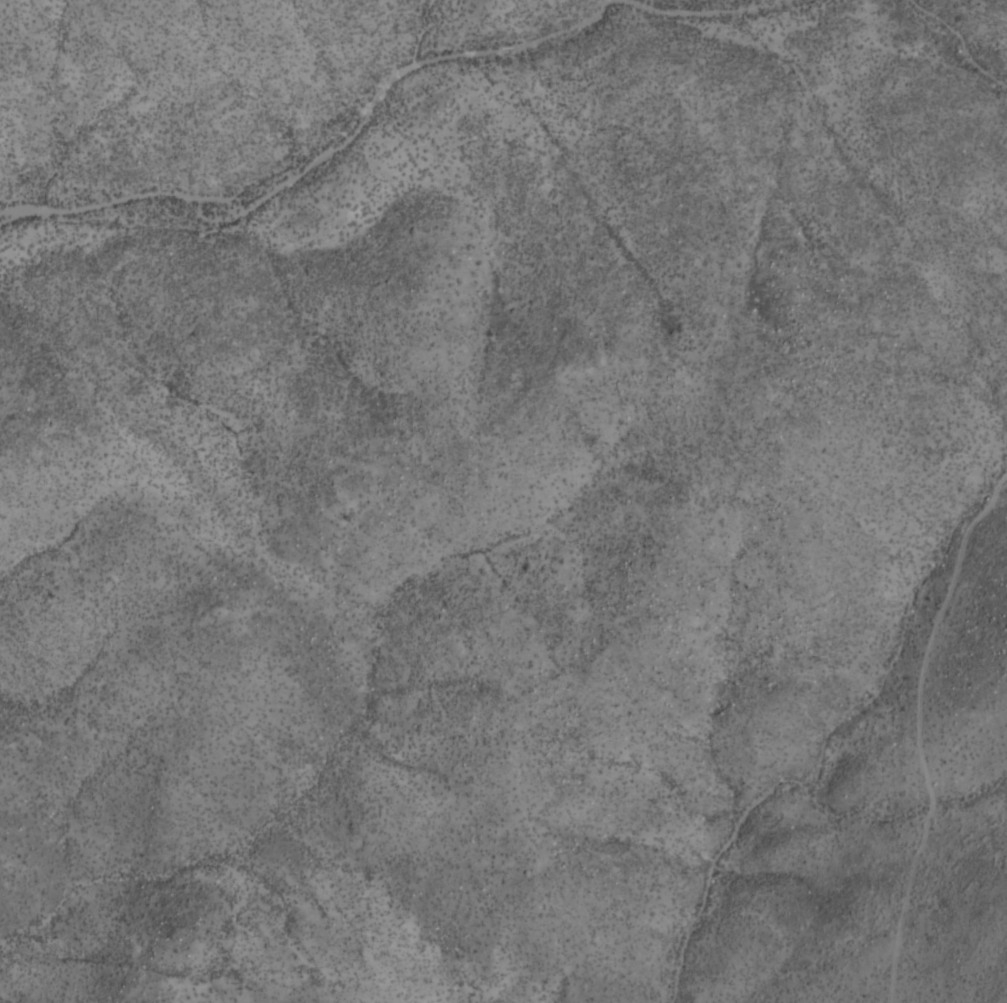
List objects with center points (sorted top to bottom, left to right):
road: (922, 736)

